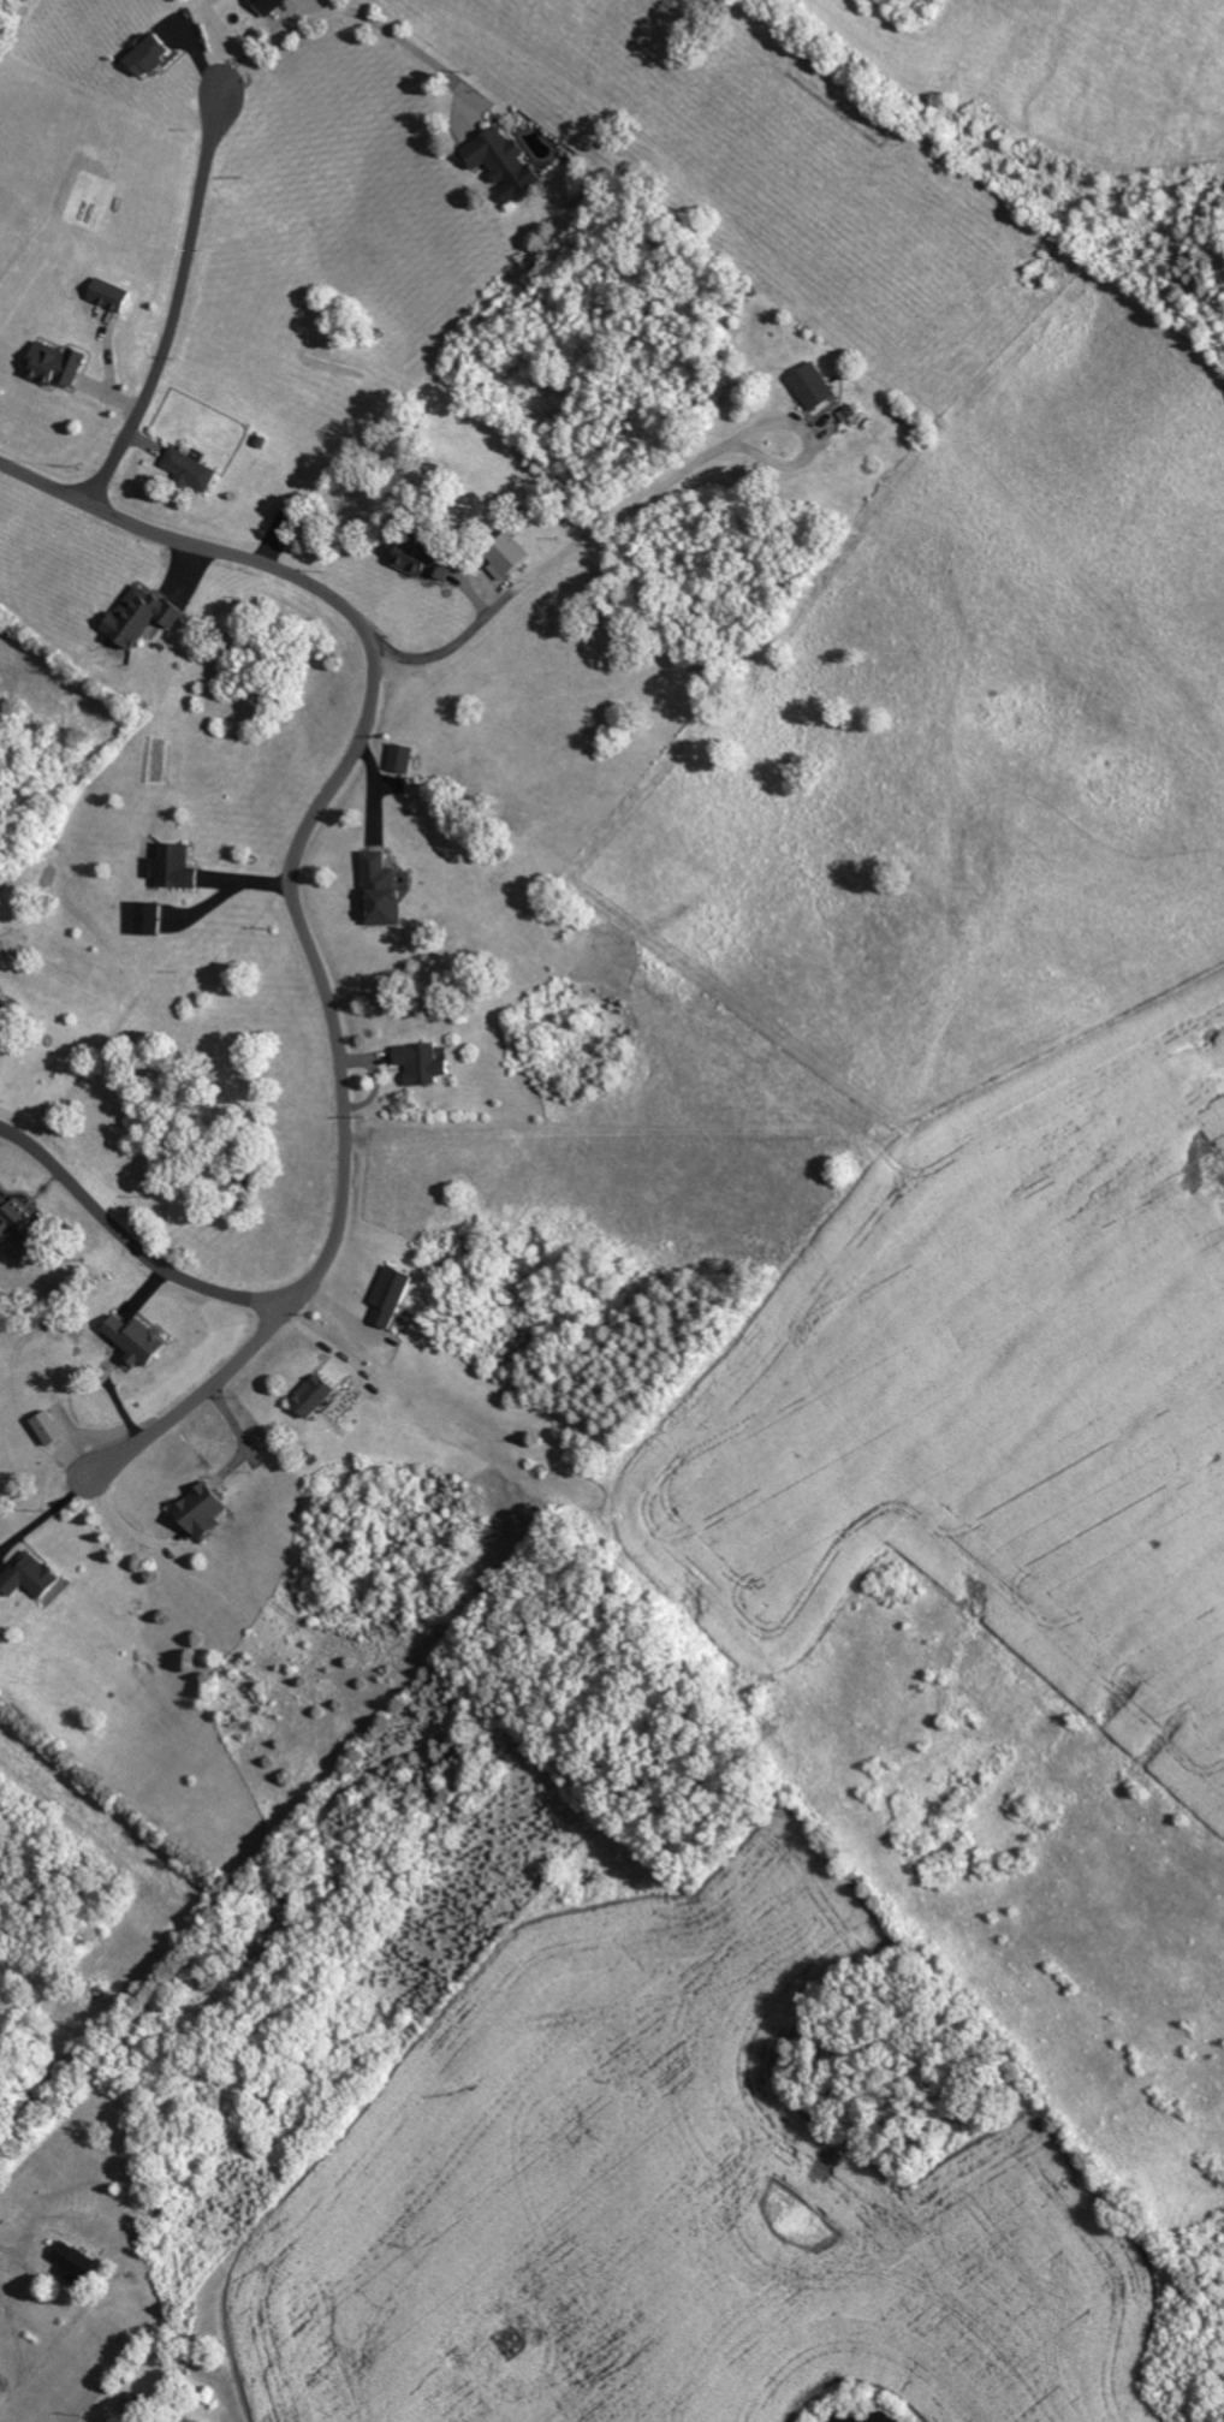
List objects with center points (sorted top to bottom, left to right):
building: (271, 6)
road: (335, 10)
building: (153, 58)
building: (505, 162)
building: (112, 295)
road: (178, 315)
building: (58, 364)
building: (815, 386)
building: (194, 470)
road: (42, 486)
road: (628, 505)
building: (510, 557)
building: (429, 562)
building: (144, 616)
building: (404, 758)
building: (178, 867)
building: (387, 891)
building: (151, 918)
road: (307, 938)
building: (2, 1005)
building: (426, 1064)
building: (20, 1221)
road: (129, 1240)
building: (394, 1296)
building: (139, 1340)
building: (320, 1397)
building: (53, 1427)
road: (52, 1509)
building: (206, 1512)
road: (127, 1526)
building: (32, 1578)
road: (12, 2256)
building: (76, 2264)

